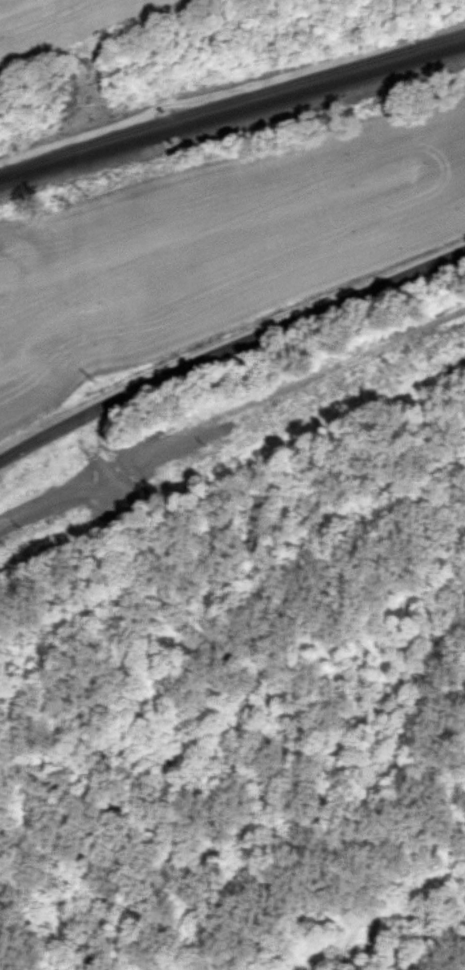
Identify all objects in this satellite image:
railway: (232, 112)
road: (229, 351)

